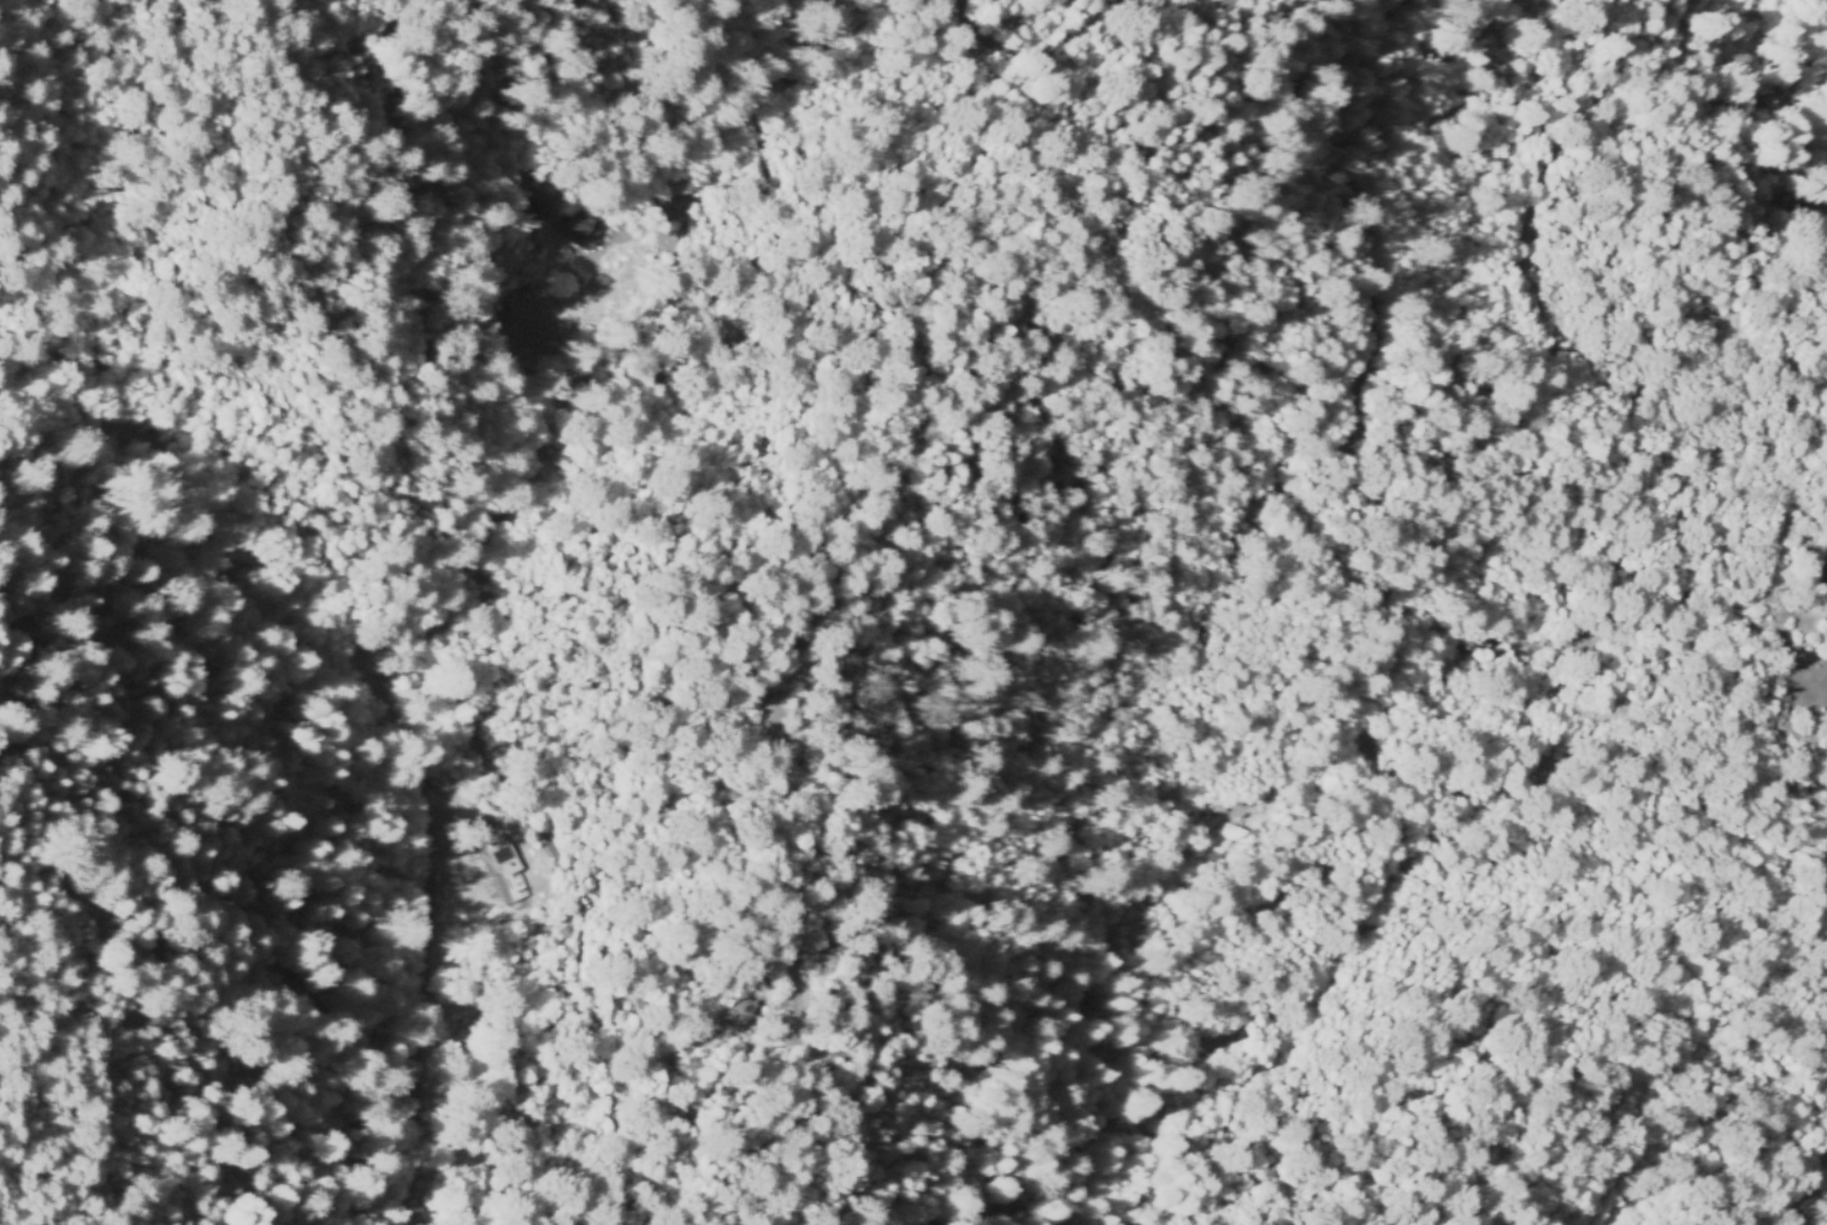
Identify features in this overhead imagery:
building: (602, 221)
building: (796, 643)
road: (917, 647)
road: (537, 834)
road: (1013, 988)
road: (1533, 1014)
road: (803, 1113)

